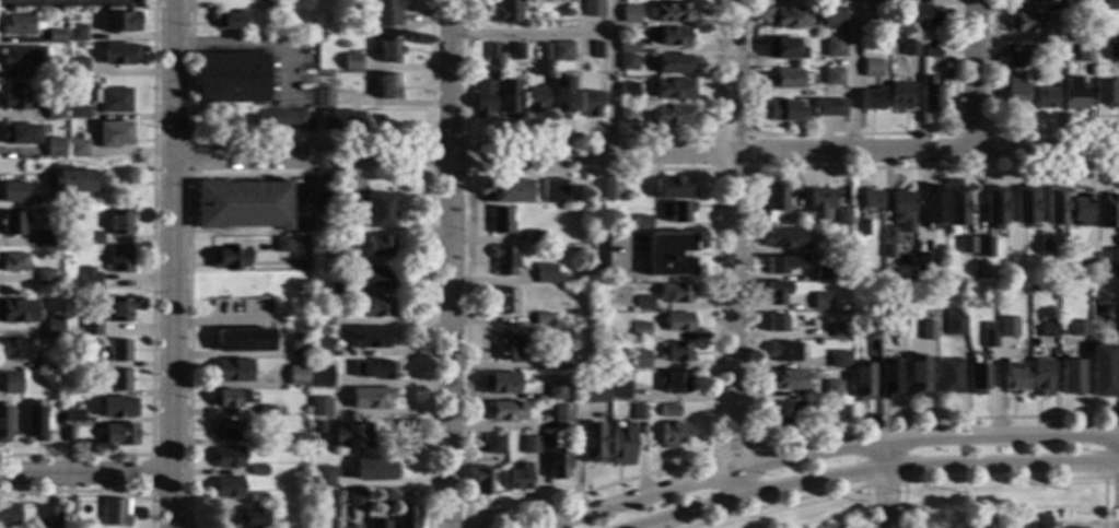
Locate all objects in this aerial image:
building: (273, 0)
building: (1028, 1)
building: (881, 3)
building: (1109, 4)
building: (1074, 5)
building: (267, 7)
building: (277, 7)
building: (593, 8)
building: (504, 12)
building: (669, 12)
building: (384, 14)
building: (630, 14)
building: (784, 17)
building: (832, 17)
building: (922, 17)
building: (232, 21)
building: (118, 22)
building: (1026, 22)
building: (16, 25)
building: (870, 32)
building: (75, 33)
road: (529, 35)
building: (54, 36)
building: (1080, 36)
building: (674, 37)
road: (256, 44)
building: (628, 46)
building: (834, 47)
building: (909, 47)
building: (931, 47)
building: (784, 49)
building: (389, 50)
building: (597, 50)
building: (491, 51)
building: (517, 51)
building: (545, 51)
building: (562, 52)
building: (1112, 52)
building: (119, 54)
building: (1082, 54)
building: (21, 55)
building: (1013, 59)
building: (352, 61)
building: (628, 63)
building: (338, 64)
building: (674, 64)
building: (75, 67)
building: (53, 68)
building: (872, 68)
road: (851, 75)
road: (972, 75)
road: (610, 77)
building: (231, 78)
building: (832, 78)
building: (785, 79)
building: (388, 86)
building: (675, 90)
building: (629, 91)
building: (1105, 92)
building: (929, 94)
building: (1073, 94)
building: (899, 95)
building: (561, 96)
building: (1014, 96)
building: (57, 97)
building: (324, 97)
building: (482, 98)
building: (509, 98)
building: (1045, 98)
building: (13, 99)
building: (536, 99)
building: (872, 99)
building: (112, 101)
building: (590, 104)
building: (829, 107)
building: (53, 109)
building: (784, 110)
building: (77, 113)
building: (627, 113)
building: (671, 115)
building: (280, 118)
building: (340, 121)
road: (989, 131)
road: (970, 133)
building: (19, 134)
building: (112, 134)
road: (848, 134)
road: (747, 136)
road: (587, 137)
road: (308, 138)
building: (53, 148)
building: (75, 149)
road: (644, 153)
road: (677, 169)
road: (429, 173)
road: (311, 174)
building: (71, 183)
building: (672, 189)
building: (602, 190)
building: (504, 191)
building: (552, 191)
building: (13, 195)
building: (776, 199)
building: (871, 200)
building: (34, 201)
building: (819, 203)
building: (900, 203)
building: (1024, 204)
building: (242, 206)
building: (1054, 206)
building: (994, 207)
building: (933, 208)
building: (955, 208)
building: (1079, 210)
building: (380, 211)
building: (675, 211)
building: (1107, 211)
building: (871, 213)
building: (842, 216)
building: (499, 221)
building: (12, 223)
building: (119, 223)
building: (340, 224)
building: (640, 224)
building: (861, 227)
building: (888, 235)
building: (533, 237)
building: (42, 238)
building: (785, 238)
building: (93, 239)
building: (282, 245)
building: (966, 245)
building: (377, 246)
building: (983, 247)
building: (1042, 247)
road: (732, 249)
building: (1117, 249)
building: (889, 251)
building: (598, 253)
building: (667, 255)
building: (337, 256)
building: (228, 259)
building: (1088, 259)
building: (503, 260)
building: (118, 261)
building: (13, 262)
building: (925, 262)
building: (1111, 262)
road: (171, 263)
road: (447, 263)
building: (1040, 263)
building: (782, 265)
building: (545, 274)
building: (824, 274)
building: (44, 278)
building: (372, 278)
building: (90, 279)
building: (337, 289)
building: (776, 292)
building: (675, 294)
road: (150, 302)
building: (502, 302)
building: (820, 302)
building: (642, 303)
building: (1094, 304)
building: (376, 307)
building: (119, 309)
road: (746, 309)
building: (630, 310)
building: (18, 312)
building: (320, 315)
building: (540, 319)
building: (678, 321)
building: (776, 322)
building: (897, 322)
building: (954, 324)
building: (53, 327)
building: (91, 328)
building: (1009, 328)
building: (1079, 328)
building: (1048, 329)
building: (928, 330)
building: (638, 331)
building: (840, 331)
building: (872, 331)
building: (989, 332)
building: (371, 338)
building: (244, 340)
building: (298, 345)
building: (320, 348)
building: (508, 348)
building: (14, 349)
building: (119, 351)
building: (674, 351)
building: (785, 351)
building: (559, 359)
building: (640, 360)
building: (840, 360)
building: (72, 361)
building: (49, 363)
building: (372, 369)
building: (232, 371)
building: (1103, 371)
building: (918, 375)
building: (296, 376)
building: (320, 376)
building: (949, 376)
building: (1015, 377)
building: (1071, 377)
building: (978, 378)
building: (1040, 378)
building: (785, 379)
building: (889, 379)
building: (117, 380)
building: (862, 382)
building: (56, 383)
building: (498, 383)
building: (673, 383)
building: (11, 384)
building: (832, 388)
building: (620, 389)
building: (73, 391)
building: (552, 391)
building: (228, 398)
building: (370, 398)
building: (588, 402)
building: (319, 407)
building: (118, 408)
building: (839, 409)
building: (783, 410)
building: (268, 411)
building: (503, 411)
building: (668, 411)
building: (638, 412)
building: (560, 416)
building: (71, 420)
building: (33, 421)
building: (4, 424)
building: (224, 430)
building: (67, 434)
building: (119, 434)
building: (672, 435)
building: (351, 436)
building: (300, 441)
building: (590, 443)
building: (493, 444)
building: (545, 444)
building: (528, 445)
building: (620, 446)
road: (824, 449)
road: (728, 451)
building: (229, 458)
building: (557, 464)
building: (373, 469)
building: (258, 470)
road: (150, 473)
road: (878, 473)
road: (83, 476)
building: (324, 477)
building: (518, 478)
road: (1111, 478)
road: (1005, 479)
building: (481, 480)
road: (882, 485)
building: (228, 488)
road: (93, 492)
building: (355, 497)
building: (384, 497)
building: (329, 498)
building: (256, 500)
road: (797, 500)
building: (70, 508)
building: (116, 513)
building: (8, 515)
building: (49, 517)
building: (406, 517)
building: (253, 518)
building: (1040, 521)
building: (378, 524)
building: (348, 526)
building: (829, 526)

